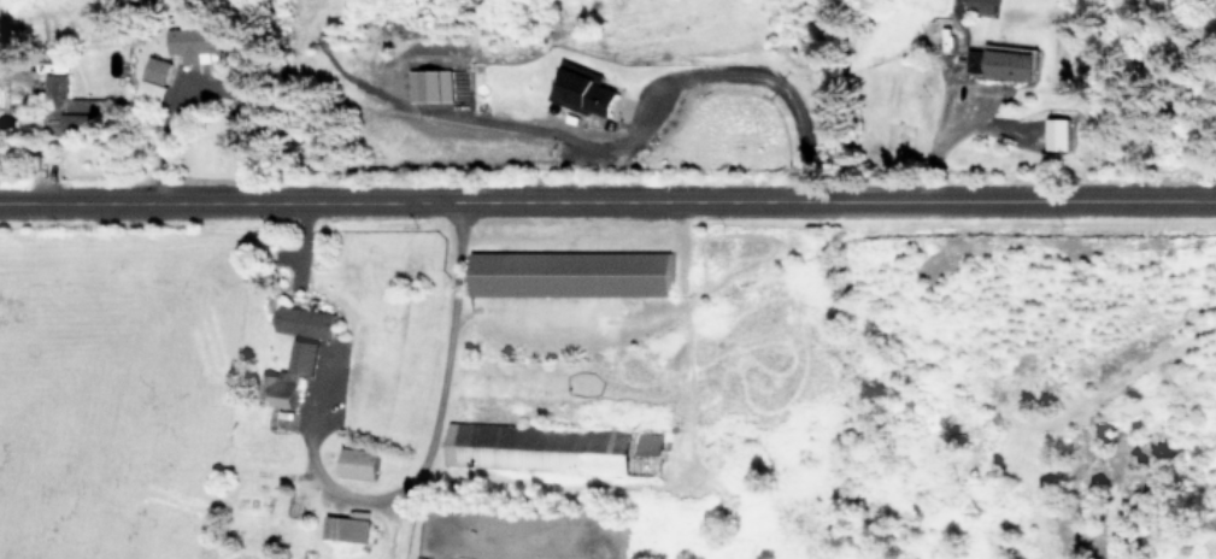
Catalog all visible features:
building: (980, 5)
building: (196, 41)
building: (999, 63)
building: (153, 78)
building: (428, 84)
building: (578, 88)
road: (662, 90)
building: (64, 102)
building: (1056, 133)
road: (939, 146)
road: (607, 202)
building: (566, 273)
building: (302, 320)
building: (300, 357)
building: (283, 392)
building: (648, 442)
building: (535, 447)
building: (356, 463)
road: (369, 494)
building: (343, 528)

